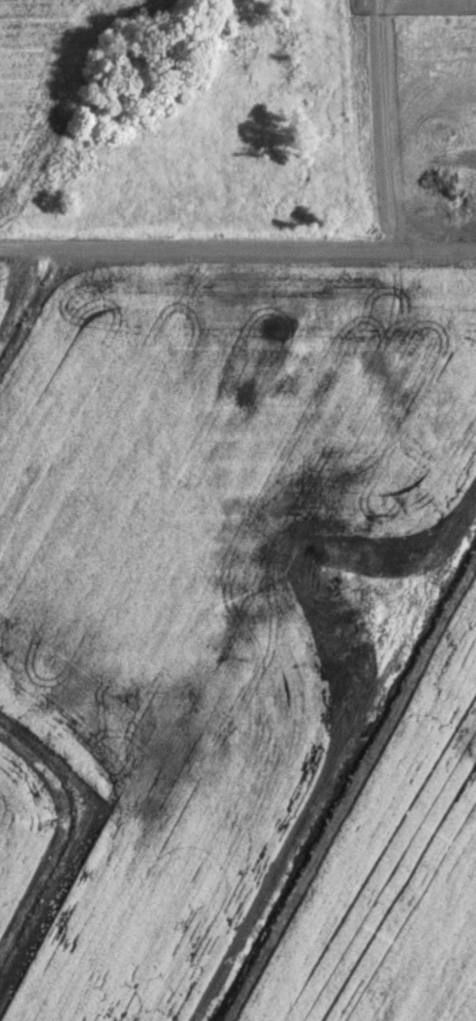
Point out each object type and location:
road: (238, 252)

